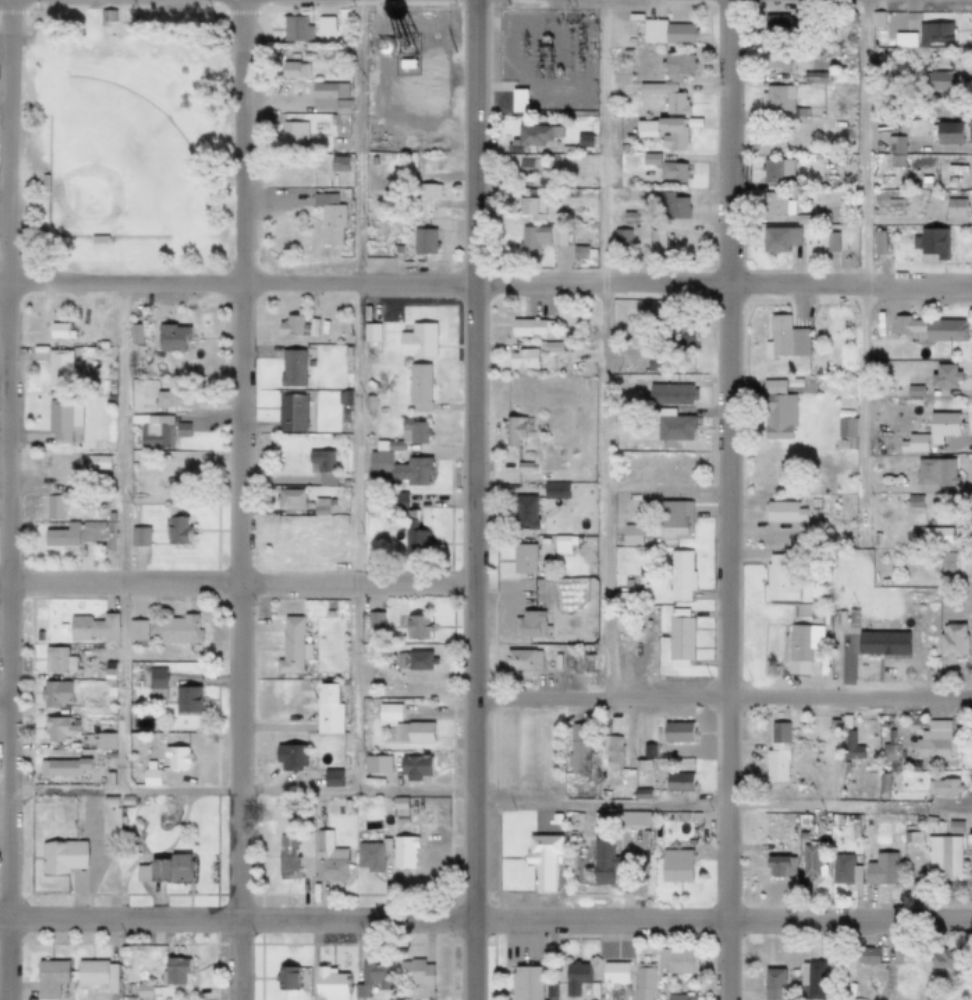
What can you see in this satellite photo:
road: (242, 0)
road: (479, 0)
building: (106, 16)
building: (877, 19)
building: (789, 21)
road: (510, 23)
building: (322, 26)
building: (293, 29)
building: (667, 32)
building: (934, 33)
building: (545, 38)
water tower: (458, 42)
building: (403, 44)
storage tank: (403, 44)
power substation: (545, 55)
building: (305, 57)
road: (509, 59)
building: (776, 61)
building: (403, 66)
building: (676, 67)
building: (291, 70)
building: (557, 71)
building: (815, 77)
building: (938, 81)
building: (176, 84)
road: (533, 86)
building: (325, 94)
building: (667, 96)
building: (940, 98)
building: (516, 99)
building: (777, 99)
building: (339, 107)
building: (336, 127)
building: (644, 128)
building: (673, 133)
building: (949, 133)
building: (291, 134)
building: (535, 137)
park: (123, 141)
building: (581, 141)
building: (565, 150)
building: (895, 152)
building: (650, 159)
building: (378, 161)
building: (336, 164)
park: (114, 166)
building: (528, 168)
building: (776, 169)
building: (672, 172)
building: (41, 184)
building: (421, 192)
building: (531, 202)
building: (776, 204)
building: (674, 206)
building: (892, 208)
building: (955, 210)
building: (633, 216)
building: (822, 216)
building: (326, 218)
building: (613, 218)
building: (804, 220)
building: (643, 232)
building: (621, 235)
stadium: (42, 237)
building: (779, 238)
building: (531, 240)
building: (96, 241)
building: (568, 241)
building: (421, 242)
building: (831, 242)
building: (934, 242)
building: (877, 243)
road: (865, 273)
road: (485, 288)
building: (290, 325)
building: (60, 326)
building: (312, 326)
building: (531, 326)
building: (323, 327)
building: (675, 328)
building: (932, 328)
building: (370, 331)
building: (135, 333)
building: (638, 336)
building: (172, 338)
building: (785, 338)
building: (418, 340)
building: (100, 343)
building: (552, 346)
building: (369, 348)
road: (603, 348)
building: (96, 350)
building: (522, 358)
building: (655, 362)
building: (292, 368)
building: (59, 369)
building: (945, 376)
building: (372, 383)
building: (419, 387)
building: (851, 390)
building: (915, 390)
building: (670, 394)
road: (356, 395)
building: (167, 396)
building: (345, 397)
building: (369, 404)
building: (292, 413)
building: (779, 416)
building: (59, 421)
building: (673, 426)
building: (846, 426)
building: (514, 429)
building: (412, 431)
building: (932, 432)
building: (152, 433)
building: (394, 445)
building: (527, 455)
building: (523, 466)
building: (96, 467)
building: (322, 467)
building: (399, 468)
building: (936, 473)
building: (174, 483)
building: (557, 490)
building: (909, 498)
building: (290, 499)
road: (6, 500)
road: (237, 500)
road: (476, 500)
road: (724, 500)
building: (320, 502)
building: (331, 502)
building: (54, 508)
building: (783, 511)
building: (303, 512)
building: (525, 512)
building: (673, 521)
building: (407, 524)
building: (176, 528)
building: (90, 531)
building: (632, 535)
building: (139, 536)
building: (285, 536)
building: (938, 536)
road: (123, 537)
building: (63, 538)
building: (330, 542)
building: (563, 544)
building: (523, 559)
building: (944, 562)
building: (679, 576)
building: (779, 580)
road: (237, 583)
building: (628, 584)
building: (621, 598)
building: (328, 614)
building: (854, 618)
building: (371, 620)
building: (589, 623)
building: (530, 624)
building: (417, 627)
building: (92, 629)
building: (177, 631)
building: (135, 633)
building: (679, 638)
building: (804, 641)
building: (952, 644)
building: (875, 645)
building: (71, 649)
building: (85, 649)
building: (292, 649)
building: (414, 660)
building: (522, 660)
building: (56, 661)
building: (557, 661)
building: (584, 662)
building: (155, 679)
building: (109, 684)
building: (155, 694)
building: (53, 695)
building: (108, 696)
road: (723, 697)
building: (305, 700)
building: (185, 701)
building: (328, 710)
building: (389, 712)
building: (910, 724)
building: (830, 725)
building: (55, 730)
building: (414, 732)
building: (675, 733)
building: (102, 742)
building: (932, 742)
building: (849, 746)
building: (575, 749)
building: (644, 751)
building: (886, 753)
building: (774, 754)
building: (290, 756)
building: (612, 756)
building: (173, 759)
building: (388, 760)
building: (411, 766)
building: (900, 767)
building: (911, 767)
building: (64, 768)
building: (375, 773)
building: (148, 776)
building: (332, 778)
building: (677, 783)
building: (881, 784)
building: (941, 788)
road: (237, 792)
building: (639, 794)
building: (123, 801)
road: (723, 805)
building: (397, 808)
building: (694, 818)
building: (824, 818)
building: (105, 820)
building: (553, 820)
building: (631, 820)
building: (907, 820)
building: (927, 823)
building: (937, 825)
building: (824, 827)
building: (847, 828)
building: (952, 828)
building: (800, 829)
building: (906, 829)
building: (823, 834)
building: (910, 838)
building: (688, 843)
building: (779, 848)
building: (400, 853)
building: (289, 856)
building: (370, 856)
building: (59, 858)
building: (326, 859)
building: (941, 859)
building: (601, 860)
building: (541, 861)
building: (809, 864)
building: (673, 867)
building: (777, 867)
building: (162, 871)
building: (842, 871)
building: (878, 871)
road: (236, 920)
road: (723, 921)
building: (864, 956)
building: (941, 961)
building: (675, 962)
building: (172, 972)
building: (94, 975)
building: (414, 975)
building: (611, 975)
building: (139, 976)
building: (47, 979)
building: (283, 979)
building: (368, 980)
building: (572, 980)
building: (641, 982)
building: (810, 982)
building: (327, 984)
building: (522, 984)
building: (771, 985)
building: (141, 992)
building: (549, 992)
building: (679, 998)

